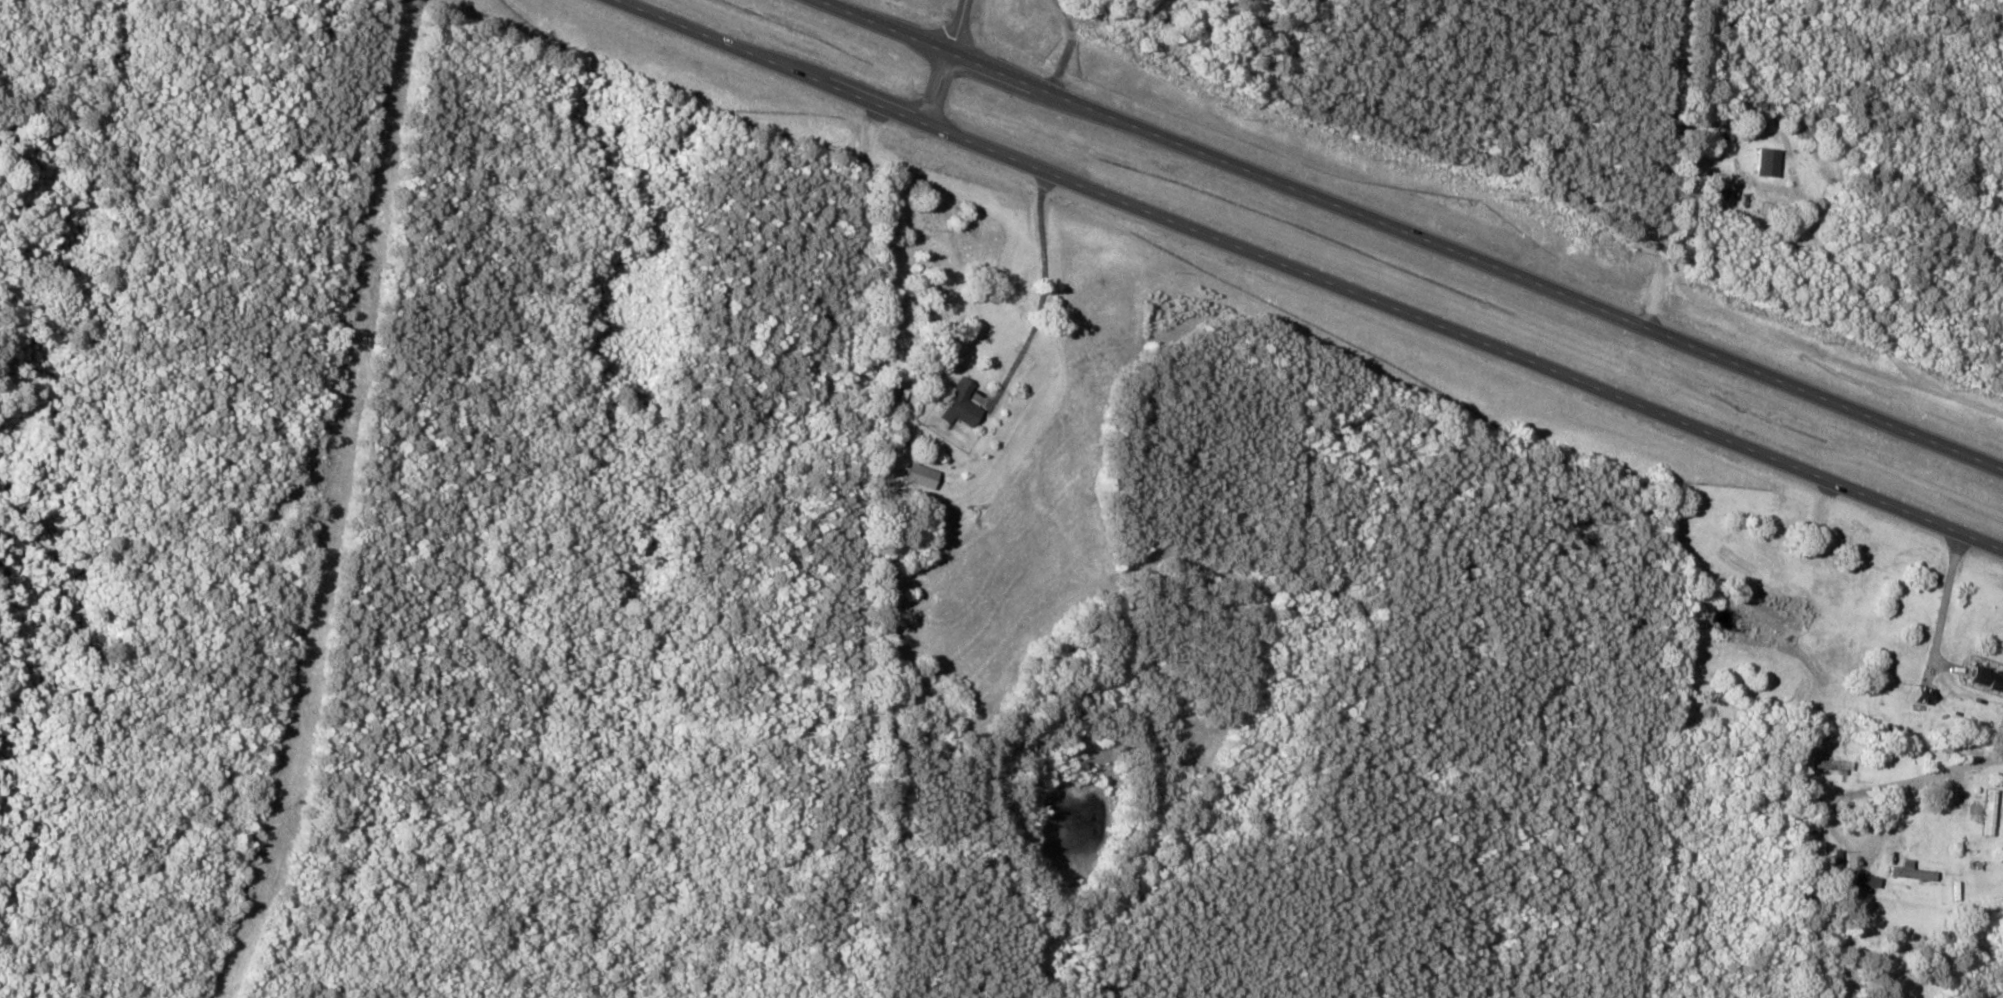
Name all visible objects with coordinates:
road: (1073, 49)
building: (1771, 161)
road: (1658, 164)
road: (1409, 236)
road: (1043, 262)
road: (1307, 275)
building: (964, 404)
building: (924, 476)
building: (1989, 677)
building: (1928, 695)
building: (1836, 765)
building: (1993, 812)
building: (1915, 872)
building: (1875, 881)

